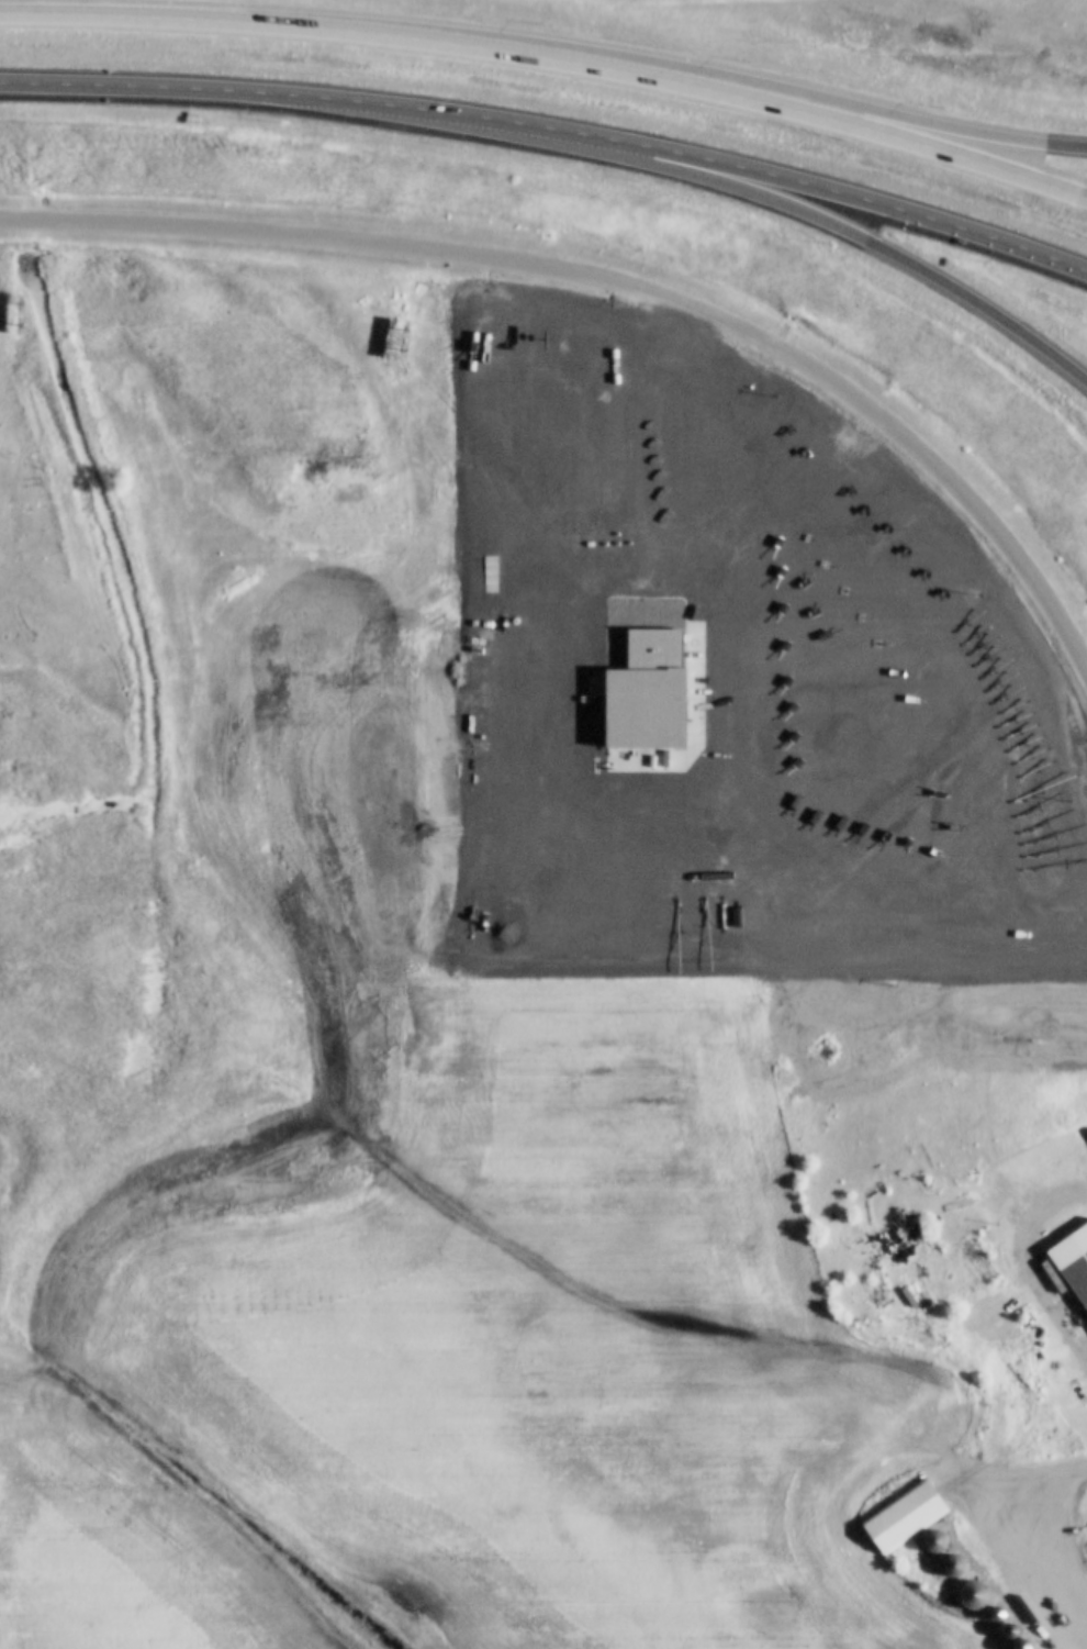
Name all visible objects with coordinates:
street lamp: (552, 18)
street lamp: (757, 49)
road: (552, 51)
street lamp: (943, 98)
street lamp: (283, 115)
road: (552, 127)
road: (983, 135)
street lamp: (463, 141)
street lamp: (651, 175)
street lamp: (830, 238)
street lamp: (990, 259)
road: (920, 269)
road: (618, 287)
building: (971, 1258)
road: (1028, 1263)
building: (1071, 1264)
building: (1001, 1295)
storage tank: (1001, 1295)
building: (903, 1518)
building: (933, 1544)
silo: (933, 1544)
building: (952, 1568)
silo: (952, 1568)
building: (971, 1597)
silo: (971, 1597)
building: (993, 1615)
silo: (993, 1615)
building: (1006, 1631)
silo: (1006, 1631)
building: (1017, 1645)
silo: (1017, 1645)

